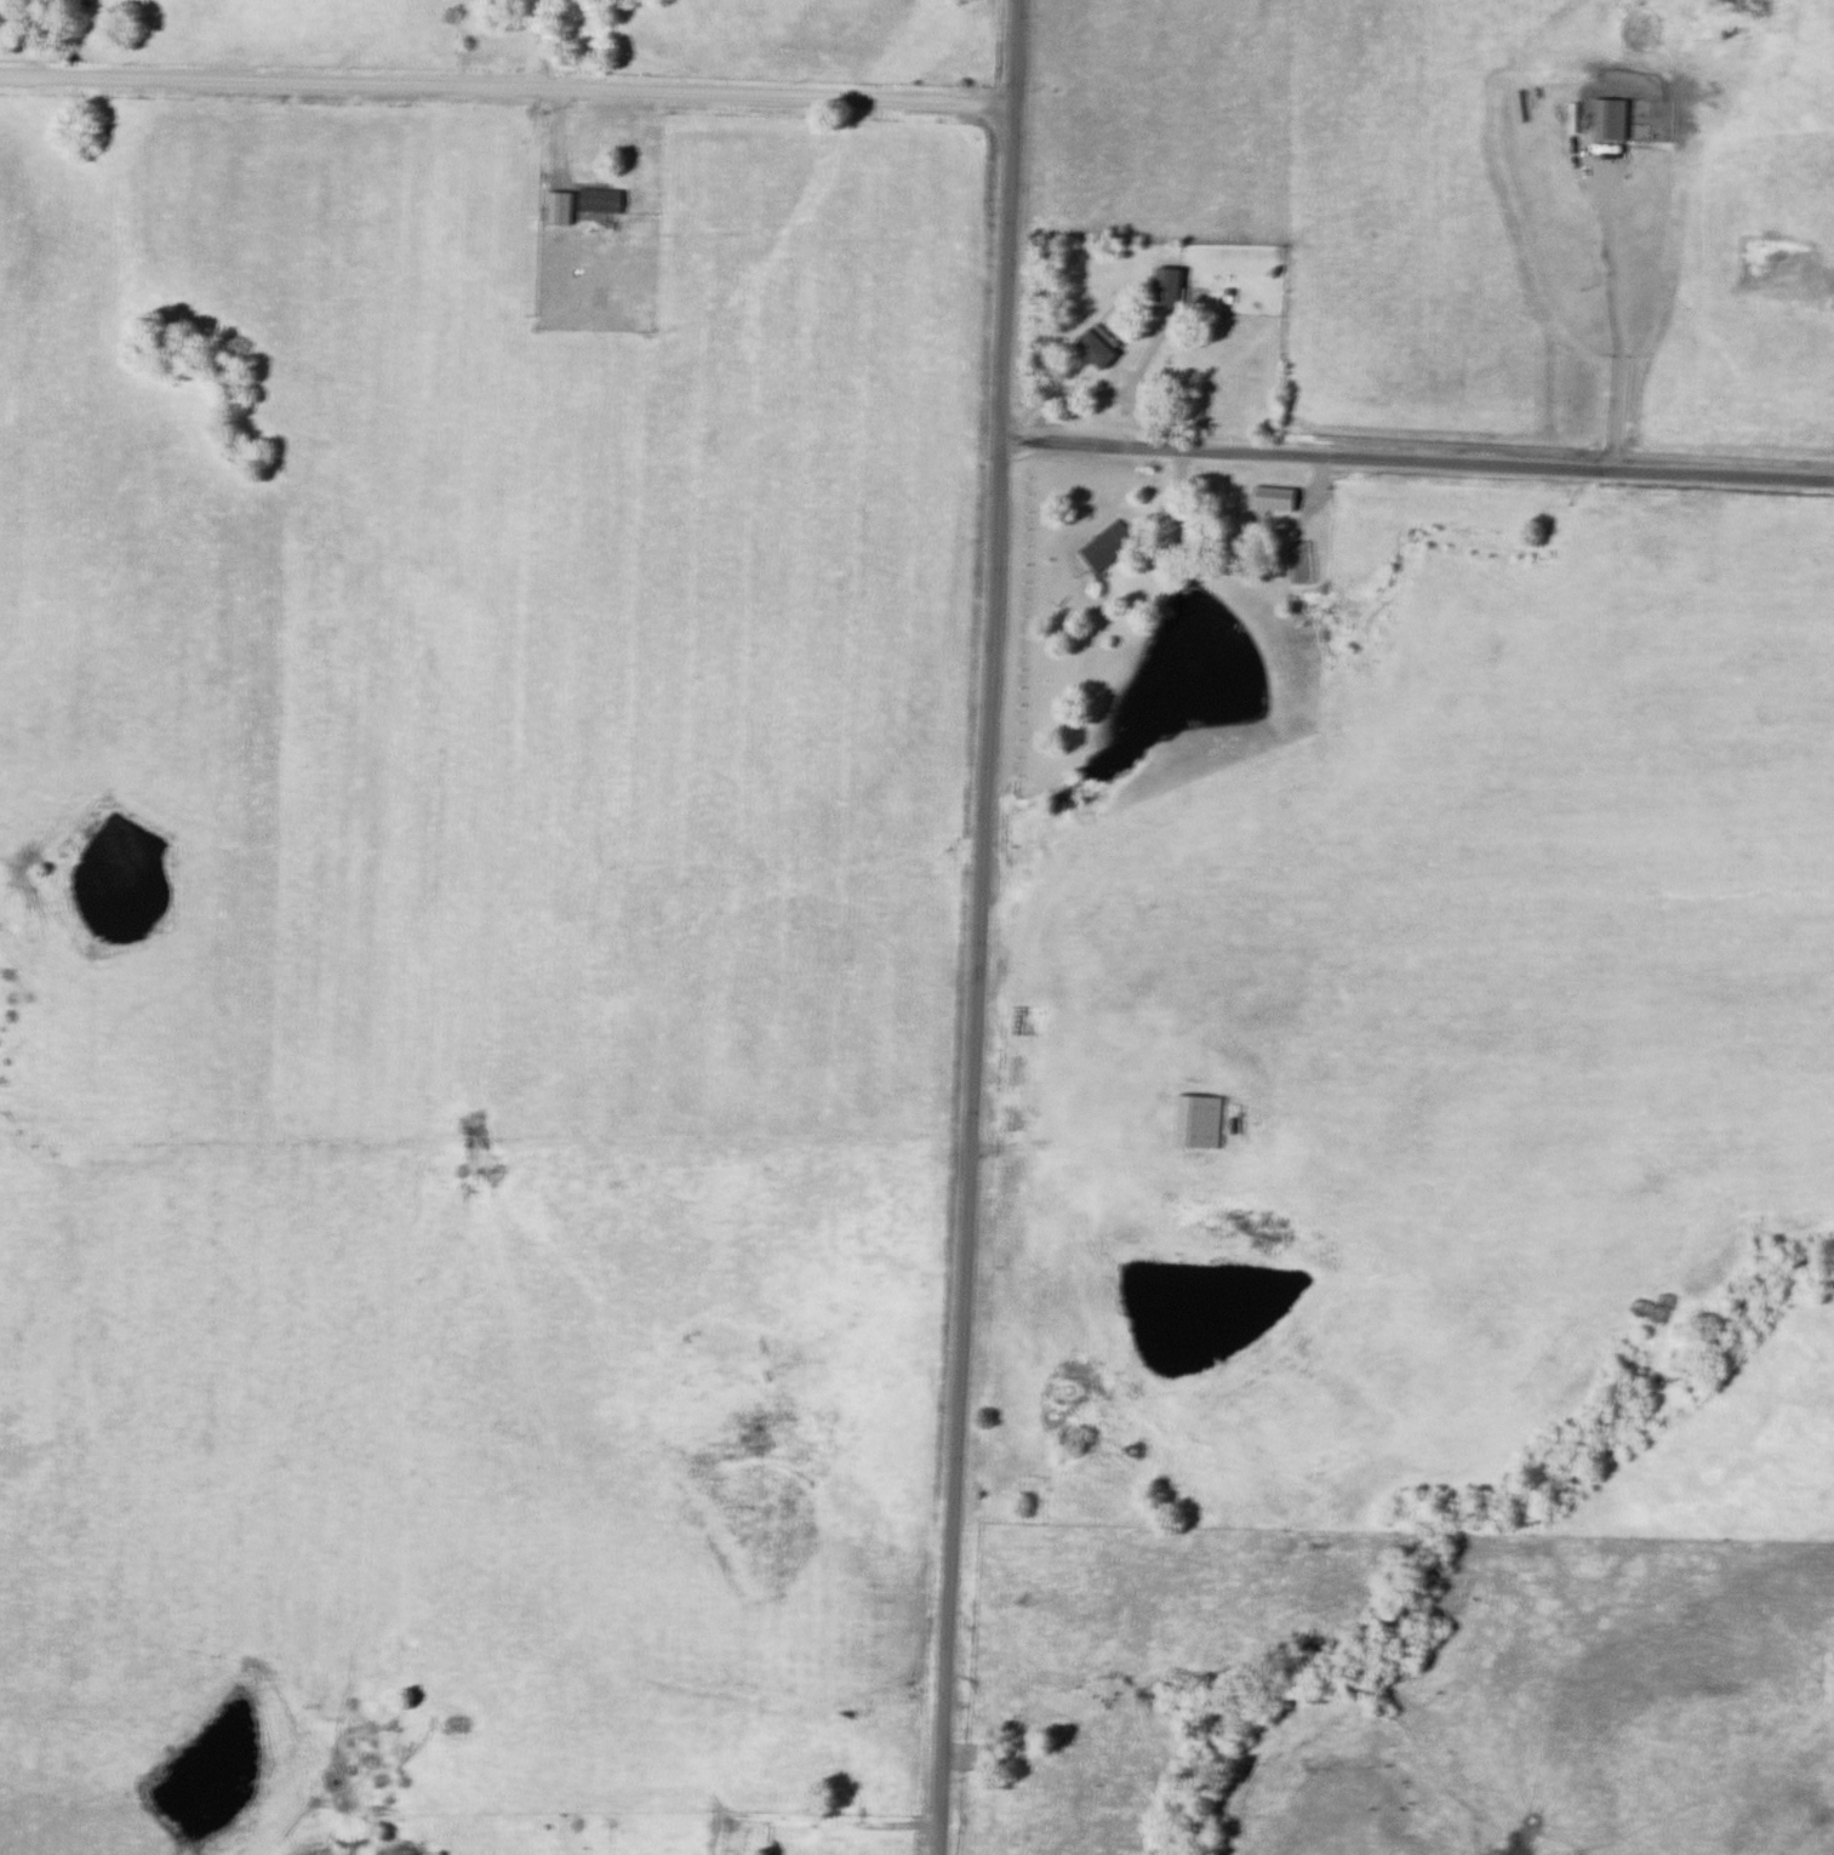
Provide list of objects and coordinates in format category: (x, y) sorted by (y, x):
road: (507, 89)
building: (601, 202)
building: (561, 210)
building: (1169, 291)
road: (1613, 314)
building: (1098, 352)
road: (1154, 363)
road: (1096, 393)
building: (1155, 396)
road: (1416, 462)
building: (1276, 501)
building: (1108, 548)
road: (979, 927)
building: (1201, 1124)
road: (1084, 1155)
building: (990, 1760)
road: (856, 1837)

